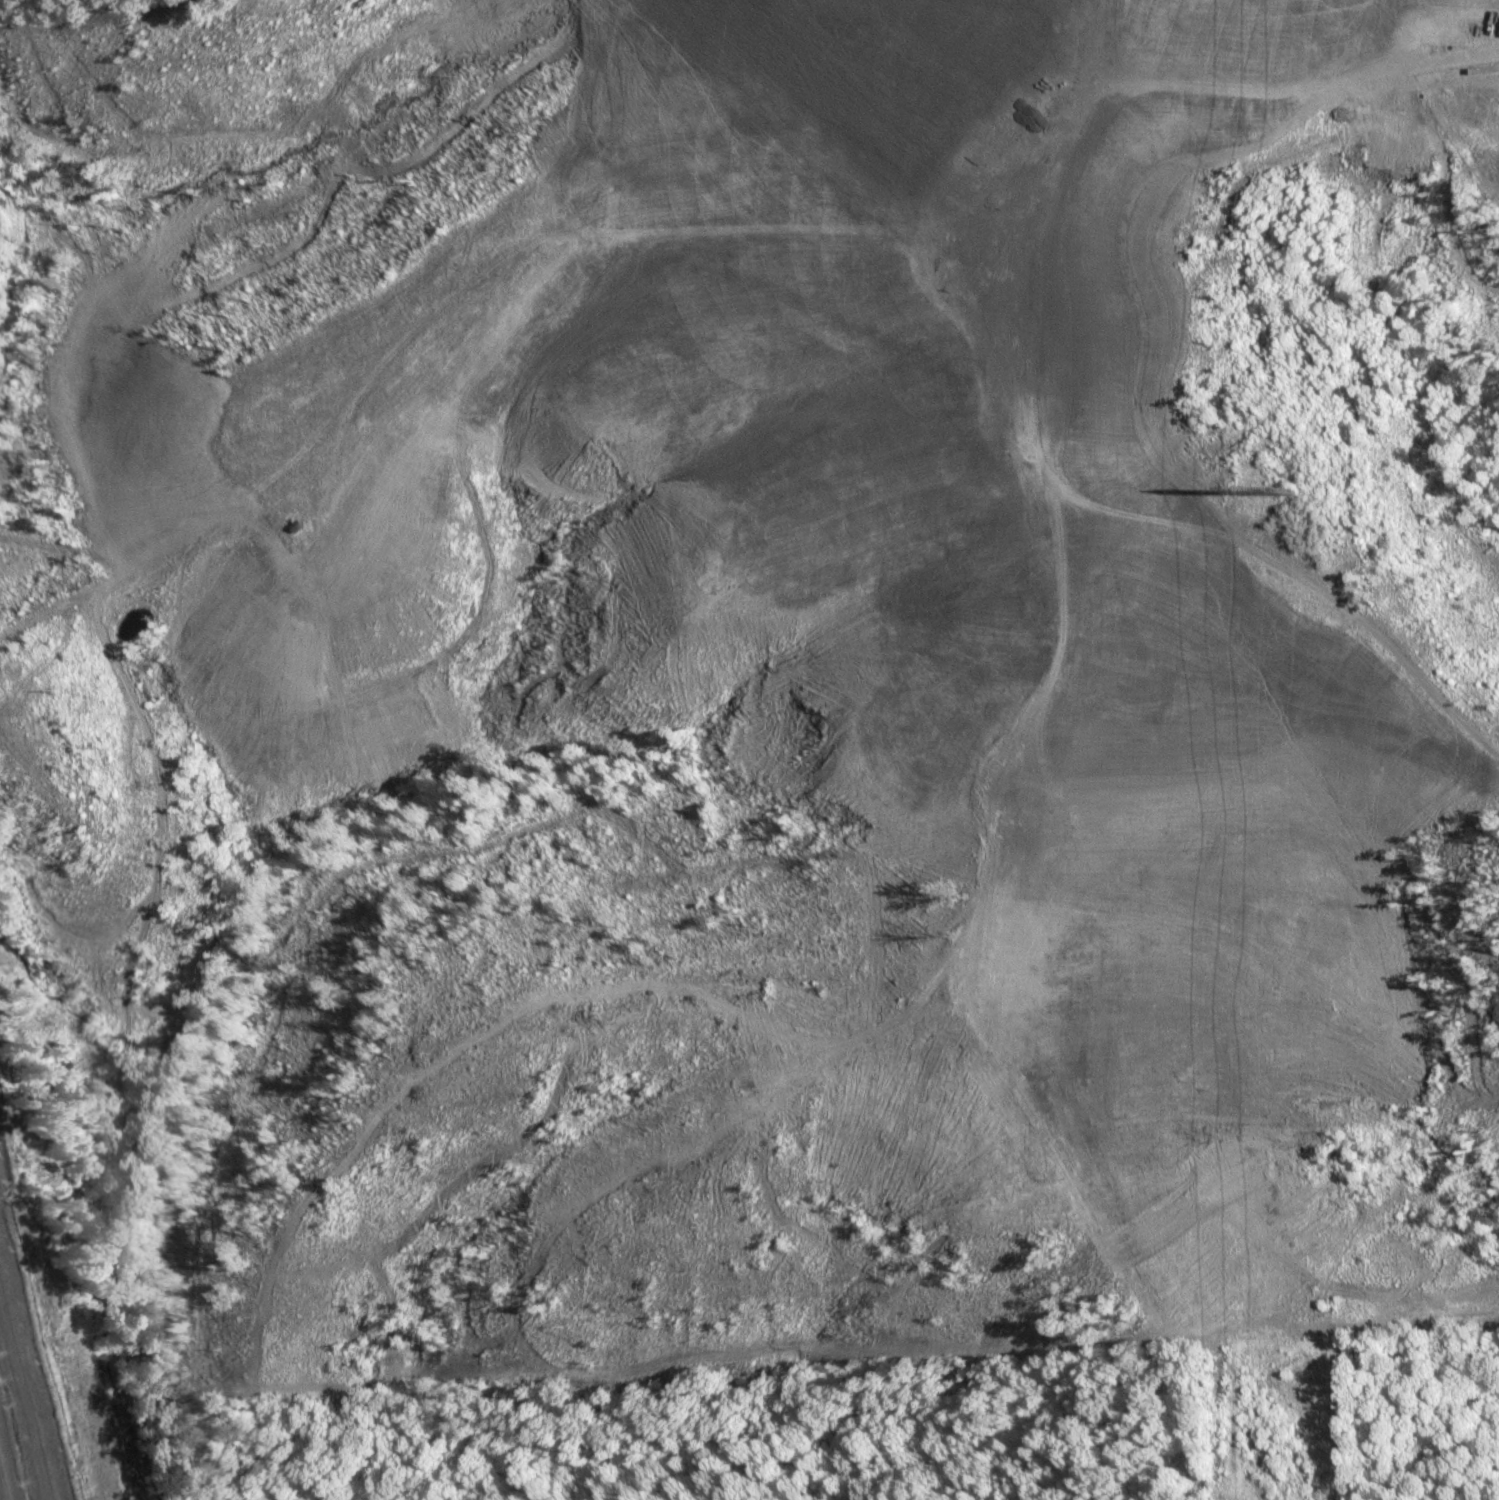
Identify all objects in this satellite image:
road: (953, 362)
power tower: (1306, 495)
road: (30, 1381)
road: (2, 1489)

